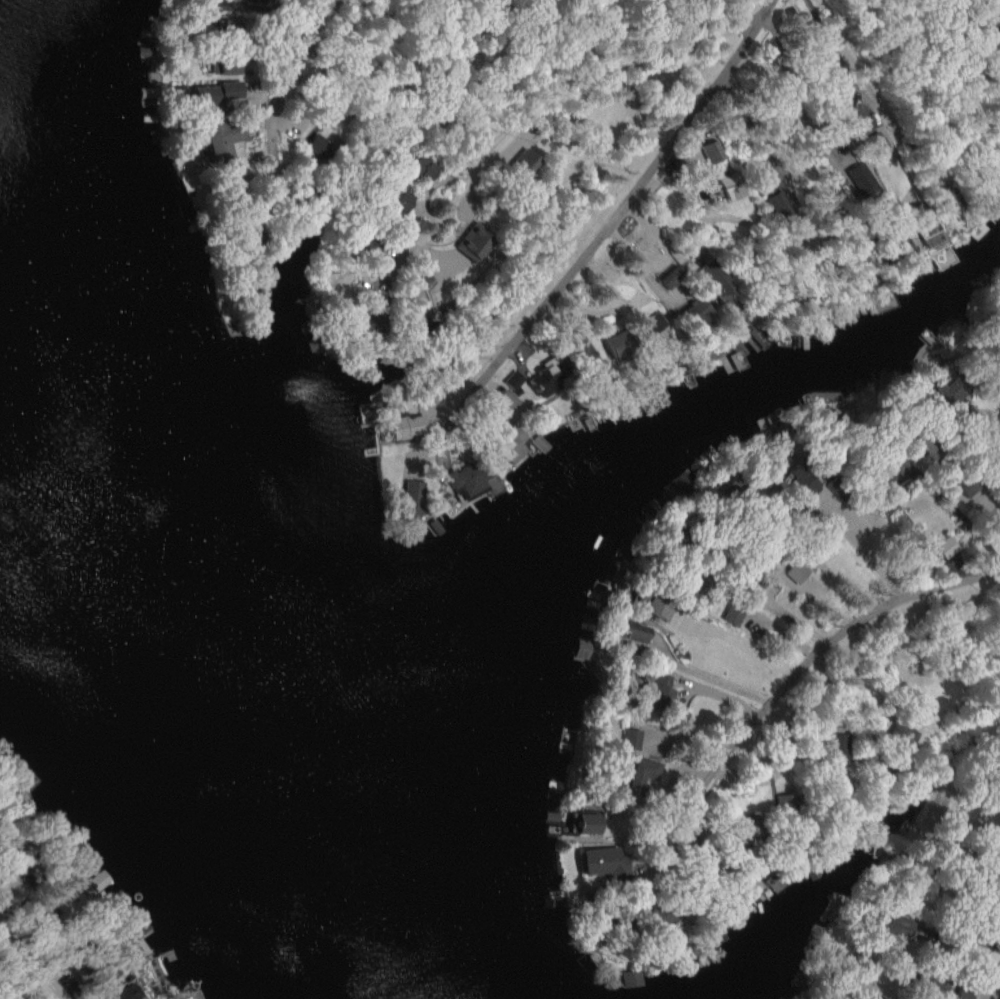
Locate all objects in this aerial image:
building: (227, 26)
road: (839, 61)
building: (226, 66)
road: (284, 77)
road: (792, 92)
building: (216, 93)
road: (875, 94)
road: (544, 107)
building: (226, 139)
road: (783, 143)
building: (873, 144)
building: (317, 147)
building: (523, 163)
building: (418, 166)
building: (861, 179)
building: (726, 185)
building: (398, 200)
building: (777, 205)
road: (616, 213)
building: (917, 220)
building: (474, 242)
building: (900, 246)
building: (672, 277)
building: (713, 278)
building: (697, 312)
building: (654, 326)
building: (618, 344)
building: (582, 354)
building: (546, 378)
building: (513, 380)
building: (948, 390)
building: (505, 402)
road: (983, 411)
building: (406, 425)
building: (515, 443)
building: (924, 447)
building: (468, 477)
building: (803, 481)
building: (967, 485)
building: (413, 496)
building: (943, 545)
road: (871, 559)
building: (795, 571)
building: (653, 605)
building: (732, 614)
building: (631, 630)
road: (746, 643)
road: (900, 655)
road: (811, 663)
road: (719, 680)
building: (660, 691)
building: (899, 735)
building: (631, 738)
building: (837, 747)
building: (642, 774)
building: (787, 803)
building: (590, 822)
building: (749, 829)
building: (607, 861)
building: (773, 880)
building: (897, 926)
road: (965, 937)
road: (33, 966)
building: (631, 977)
building: (938, 985)
building: (125, 990)
building: (964, 993)

